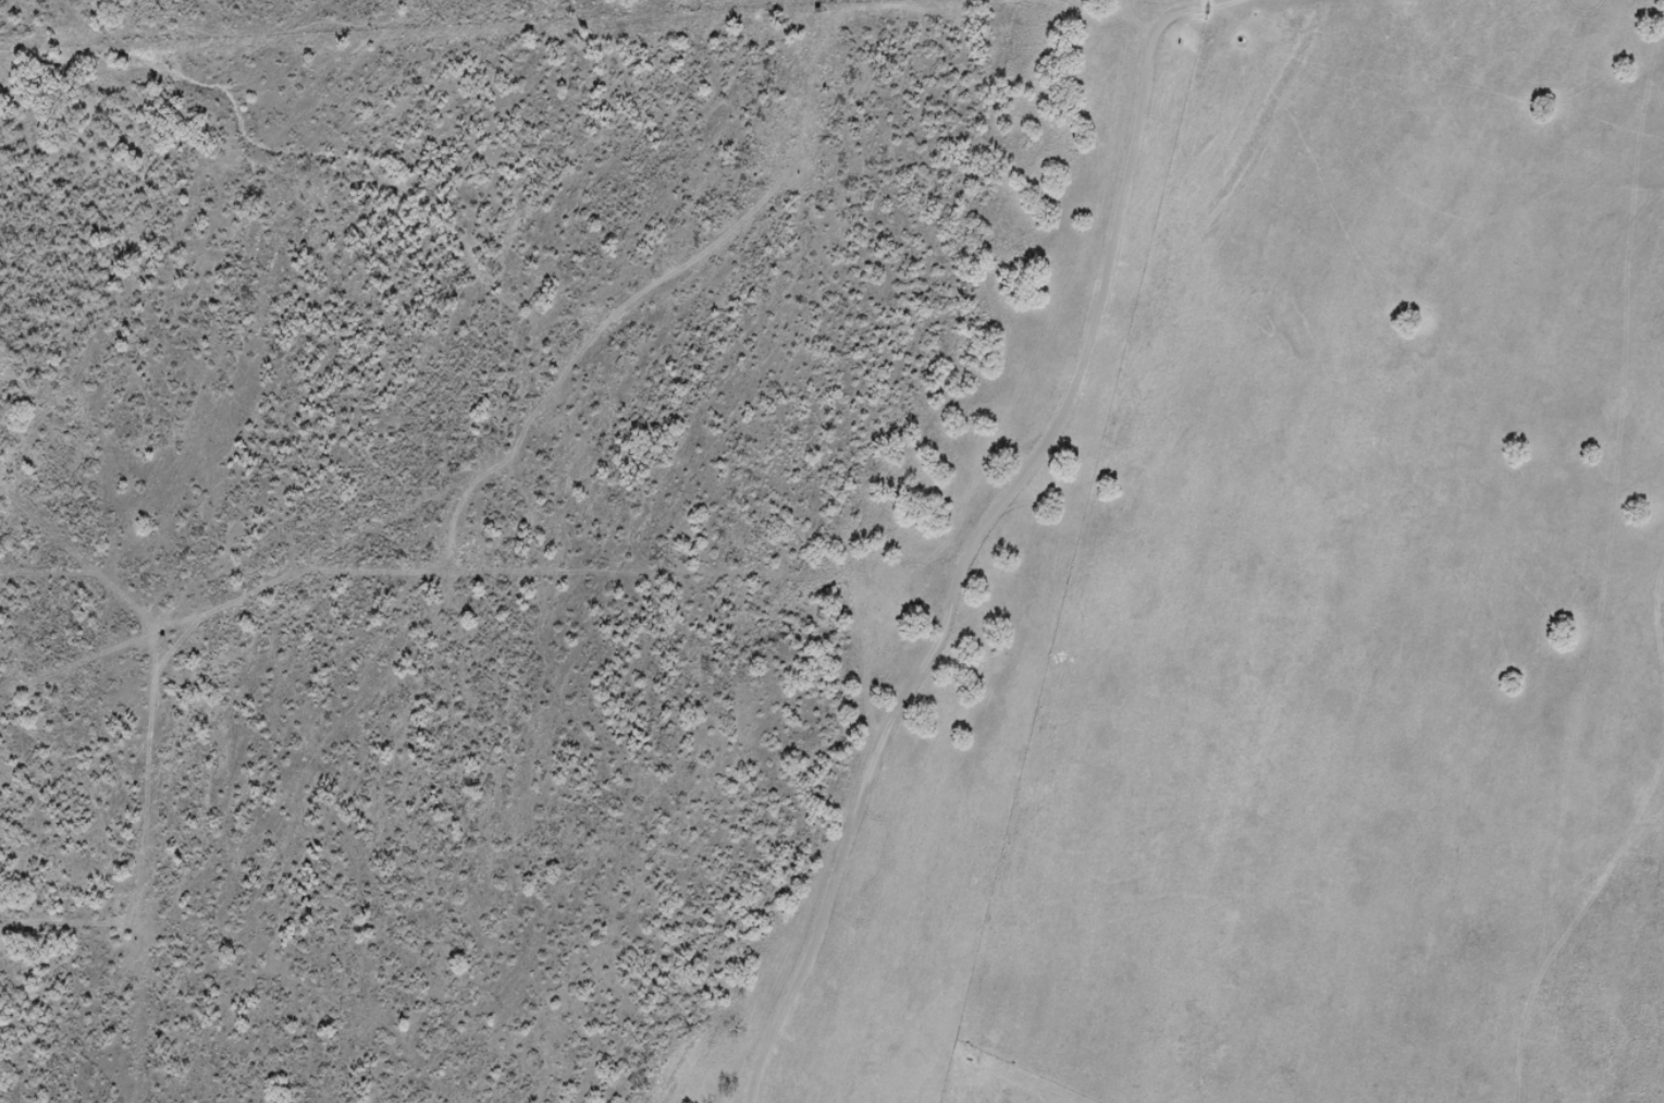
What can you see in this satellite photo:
road: (1358, 21)
road: (1527, 818)

